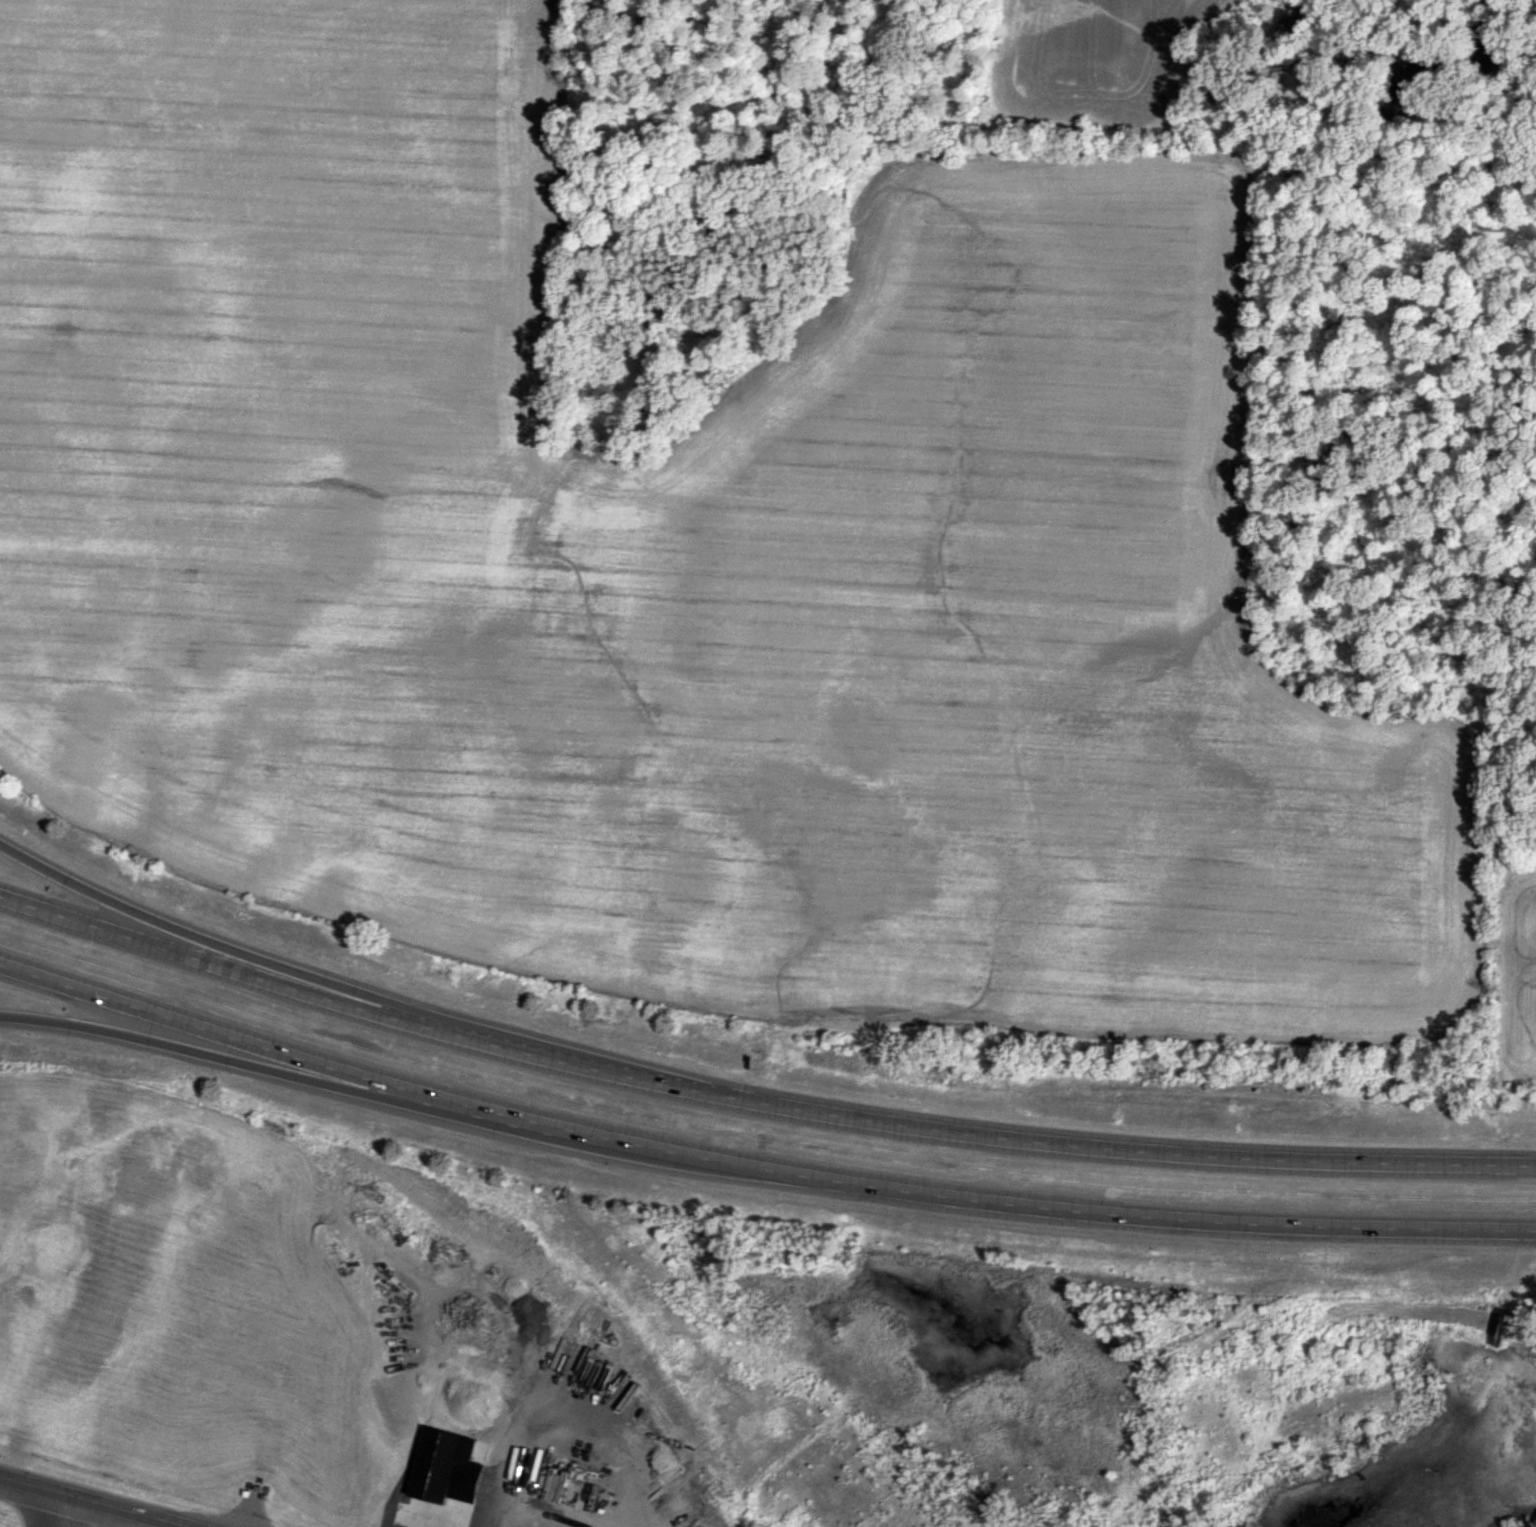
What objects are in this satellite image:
crop: (802, 502)
road: (340, 986)
road: (340, 1086)
road: (755, 1101)
road: (756, 1167)
road: (88, 1503)
road: (51, 1511)
road: (127, 1520)

